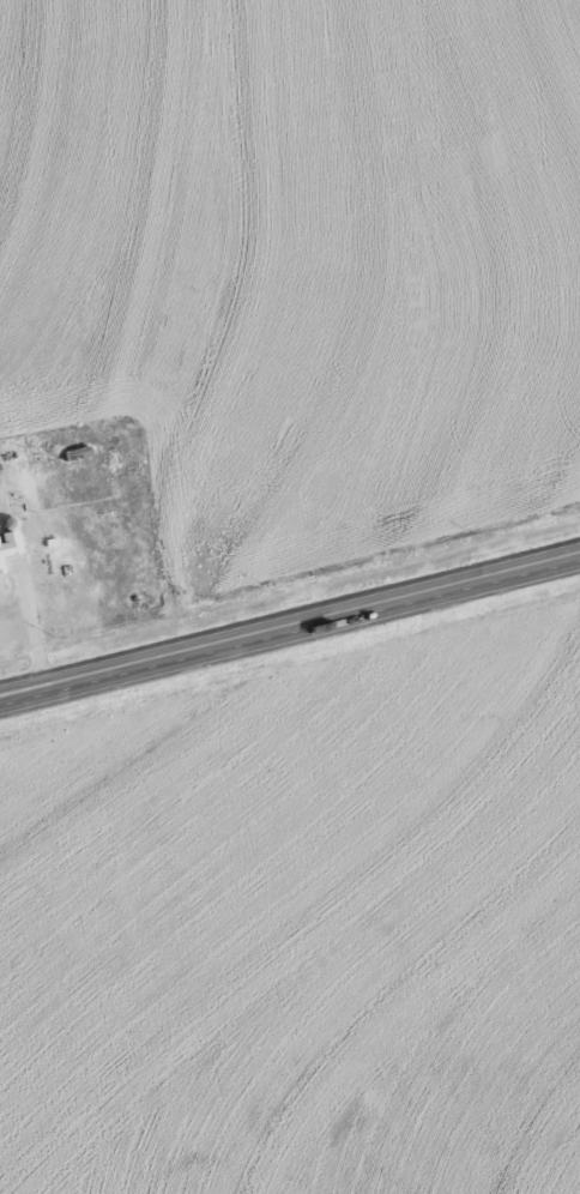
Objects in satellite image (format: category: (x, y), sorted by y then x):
building: (8, 543)
road: (290, 621)

